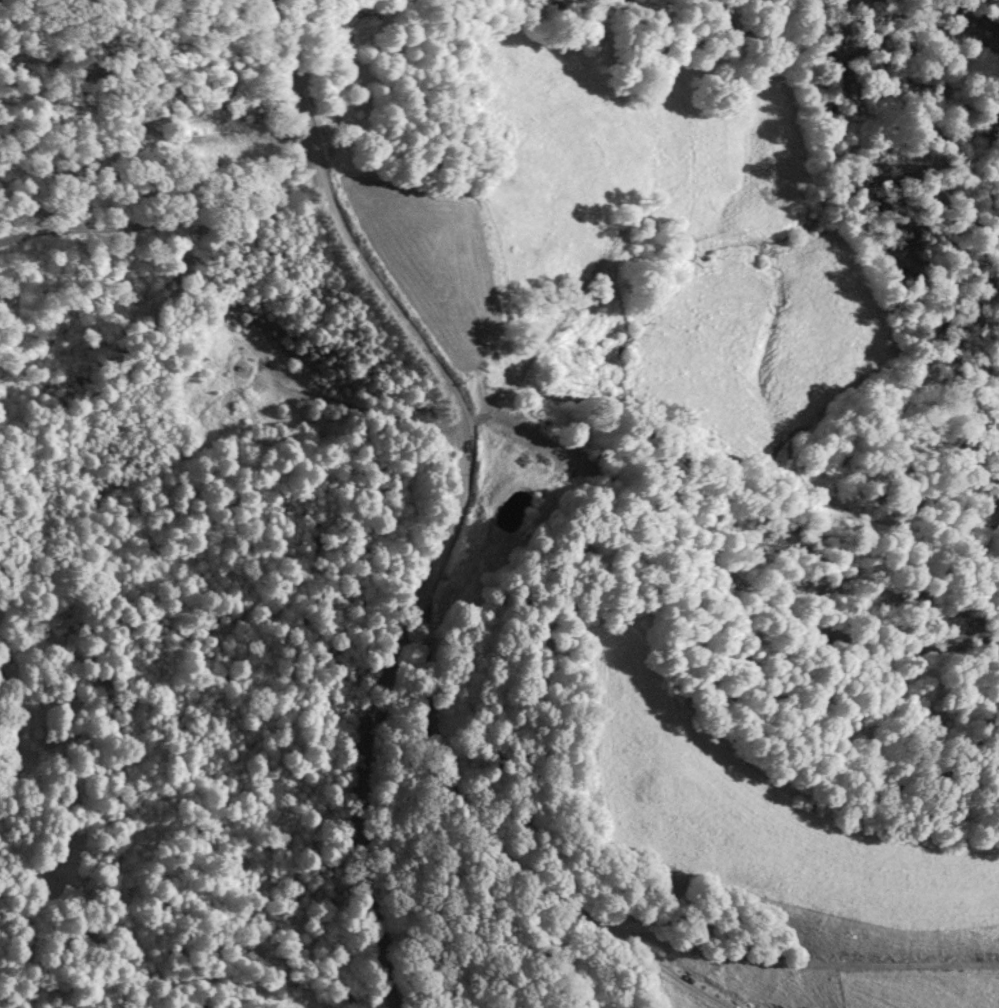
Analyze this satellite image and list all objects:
road: (418, 494)
road: (536, 903)
road: (823, 965)

